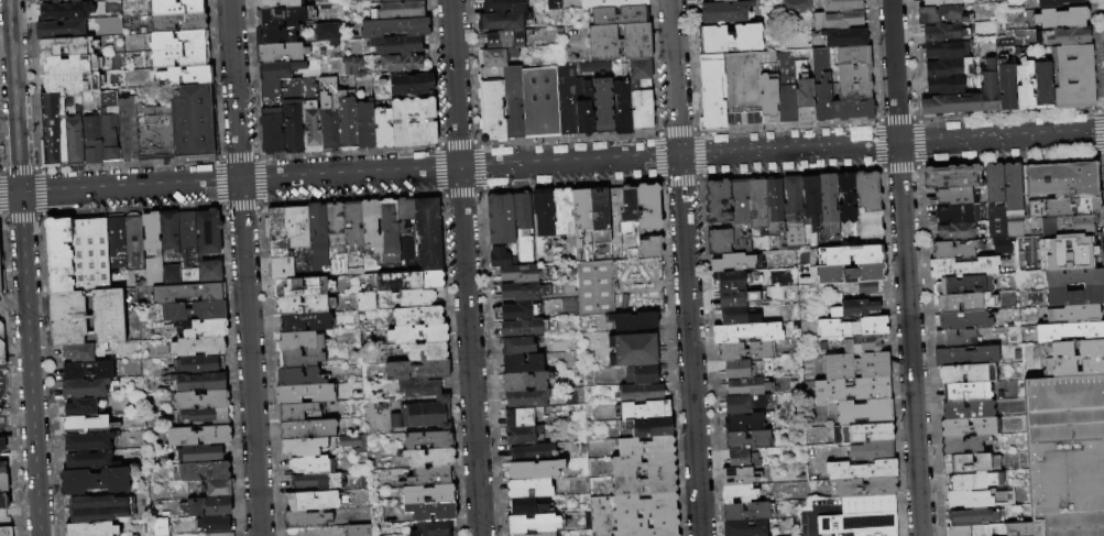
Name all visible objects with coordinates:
building: (380, 0)
building: (715, 0)
building: (720, 0)
building: (39, 1)
building: (396, 1)
building: (75, 2)
building: (943, 2)
building: (1056, 2)
building: (610, 3)
building: (277, 4)
building: (553, 4)
building: (841, 4)
building: (504, 6)
building: (795, 7)
building: (176, 8)
building: (402, 10)
building: (65, 12)
building: (724, 12)
building: (619, 15)
building: (939, 15)
building: (283, 17)
building: (1061, 18)
building: (503, 21)
building: (838, 21)
building: (177, 23)
building: (394, 28)
building: (59, 30)
building: (948, 32)
building: (327, 33)
building: (275, 35)
building: (1063, 36)
building: (844, 37)
building: (505, 39)
building: (730, 39)
building: (178, 41)
building: (1002, 41)
building: (131, 42)
building: (619, 42)
building: (65, 46)
building: (396, 46)
building: (945, 51)
building: (281, 53)
building: (852, 55)
building: (179, 57)
building: (498, 57)
building: (401, 64)
building: (72, 65)
building: (313, 65)
building: (351, 66)
building: (593, 67)
building: (947, 68)
building: (280, 69)
building: (640, 72)
building: (490, 75)
building: (186, 76)
building: (1074, 77)
building: (741, 81)
building: (853, 83)
building: (411, 85)
building: (821, 85)
building: (1024, 85)
building: (948, 86)
building: (1041, 86)
building: (767, 87)
building: (786, 87)
building: (1006, 87)
building: (711, 90)
building: (281, 91)
road: (13, 97)
building: (966, 97)
building: (566, 100)
building: (805, 100)
building: (513, 101)
building: (539, 102)
building: (583, 102)
building: (621, 103)
building: (602, 108)
building: (641, 109)
building: (852, 109)
building: (491, 111)
building: (328, 112)
building: (310, 116)
building: (346, 121)
building: (413, 122)
building: (193, 123)
building: (364, 125)
building: (108, 128)
building: (382, 128)
building: (125, 129)
building: (52, 130)
building: (292, 130)
building: (271, 131)
building: (153, 133)
building: (91, 141)
building: (73, 142)
road: (561, 163)
building: (950, 176)
building: (1061, 179)
building: (992, 184)
building: (1010, 187)
road: (10, 196)
traffic signals: (20, 196)
building: (954, 196)
building: (845, 198)
building: (791, 199)
building: (717, 201)
building: (810, 205)
building: (867, 205)
building: (612, 206)
building: (757, 206)
building: (774, 206)
building: (647, 207)
building: (626, 208)
building: (1061, 208)
building: (562, 211)
building: (828, 211)
building: (957, 212)
building: (404, 215)
building: (739, 216)
building: (500, 219)
building: (542, 219)
building: (581, 225)
building: (600, 225)
building: (335, 226)
building: (352, 226)
building: (522, 226)
building: (1067, 226)
building: (370, 227)
building: (387, 228)
building: (286, 230)
building: (1002, 230)
building: (168, 231)
building: (955, 231)
building: (151, 232)
building: (0, 233)
building: (427, 233)
building: (794, 237)
building: (318, 240)
building: (718, 241)
building: (116, 242)
building: (208, 245)
building: (187, 248)
building: (651, 248)
building: (405, 249)
building: (954, 249)
building: (1067, 252)
building: (58, 253)
building: (89, 254)
building: (136, 254)
building: (849, 255)
building: (500, 258)
building: (734, 262)
building: (291, 265)
road: (243, 267)
road: (463, 267)
road: (685, 267)
road: (905, 267)
building: (962, 267)
building: (521, 273)
building: (848, 273)
building: (170, 275)
building: (1072, 278)
building: (734, 280)
building: (402, 281)
building: (2, 282)
building: (963, 285)
building: (303, 287)
building: (594, 287)
building: (860, 287)
building: (517, 292)
building: (187, 293)
building: (1073, 297)
building: (413, 298)
building: (734, 298)
road: (12, 300)
building: (365, 300)
building: (621, 300)
building: (961, 303)
building: (304, 305)
building: (854, 309)
building: (193, 310)
building: (516, 311)
building: (1072, 314)
building: (416, 316)
building: (735, 316)
building: (86, 317)
building: (961, 320)
building: (305, 321)
building: (633, 321)
building: (199, 328)
building: (523, 328)
building: (851, 328)
building: (1069, 331)
building: (745, 332)
building: (417, 333)
building: (953, 338)
building: (298, 340)
building: (862, 343)
building: (195, 346)
building: (516, 347)
building: (632, 350)
building: (0, 351)
building: (80, 351)
building: (425, 351)
building: (744, 351)
building: (965, 357)
building: (299, 358)
building: (1072, 359)
building: (522, 363)
building: (196, 364)
road: (29, 365)
building: (855, 365)
building: (416, 370)
building: (735, 370)
building: (87, 371)
building: (641, 374)
building: (965, 374)
building: (298, 376)
building: (524, 381)
building: (198, 382)
road: (15, 383)
road: (0, 384)
building: (747, 386)
building: (84, 389)
building: (422, 389)
building: (851, 390)
building: (965, 392)
building: (638, 393)
building: (304, 394)
building: (525, 398)
building: (200, 401)
building: (742, 404)
parking lot: (2, 407)
building: (81, 407)
building: (966, 409)
building: (645, 411)
building: (863, 412)
building: (298, 413)
building: (428, 416)
building: (203, 417)
building: (518, 417)
road: (19, 418)
road: (3, 419)
building: (742, 423)
building: (85, 424)
building: (969, 427)
building: (651, 428)
building: (307, 429)
building: (818, 434)
building: (861, 434)
building: (522, 435)
building: (198, 436)
building: (427, 439)
building: (747, 441)
building: (351, 444)
building: (2, 445)
building: (645, 446)
building: (961, 446)
building: (302, 447)
building: (86, 451)
building: (872, 451)
building: (531, 452)
building: (199, 453)
building: (4, 455)
building: (1065, 455)
building: (429, 458)
building: (742, 459)
building: (964, 463)
building: (642, 464)
building: (310, 466)
building: (2, 467)
building: (204, 470)
building: (532, 470)
building: (861, 470)
building: (428, 477)
building: (736, 477)
building: (363, 480)
building: (94, 481)
building: (972, 481)
building: (315, 482)
building: (3, 483)
building: (643, 484)
building: (217, 488)
building: (864, 488)
building: (528, 489)
building: (428, 494)
building: (737, 494)
building: (980, 499)
building: (315, 501)
building: (4, 502)
building: (868, 505)
building: (525, 506)
building: (206, 507)
building: (96, 508)
building: (430, 512)
building: (747, 512)
building: (375, 514)
building: (633, 515)
building: (968, 517)
building: (305, 519)
building: (856, 523)
building: (211, 524)
building: (534, 524)
building: (160, 527)
building: (4, 528)
building: (430, 528)
building: (744, 528)
building: (91, 529)
building: (356, 529)
building: (995, 529)
building: (1023, 529)
building: (957, 530)
building: (877, 533)
building: (219, 534)
building: (547, 534)

